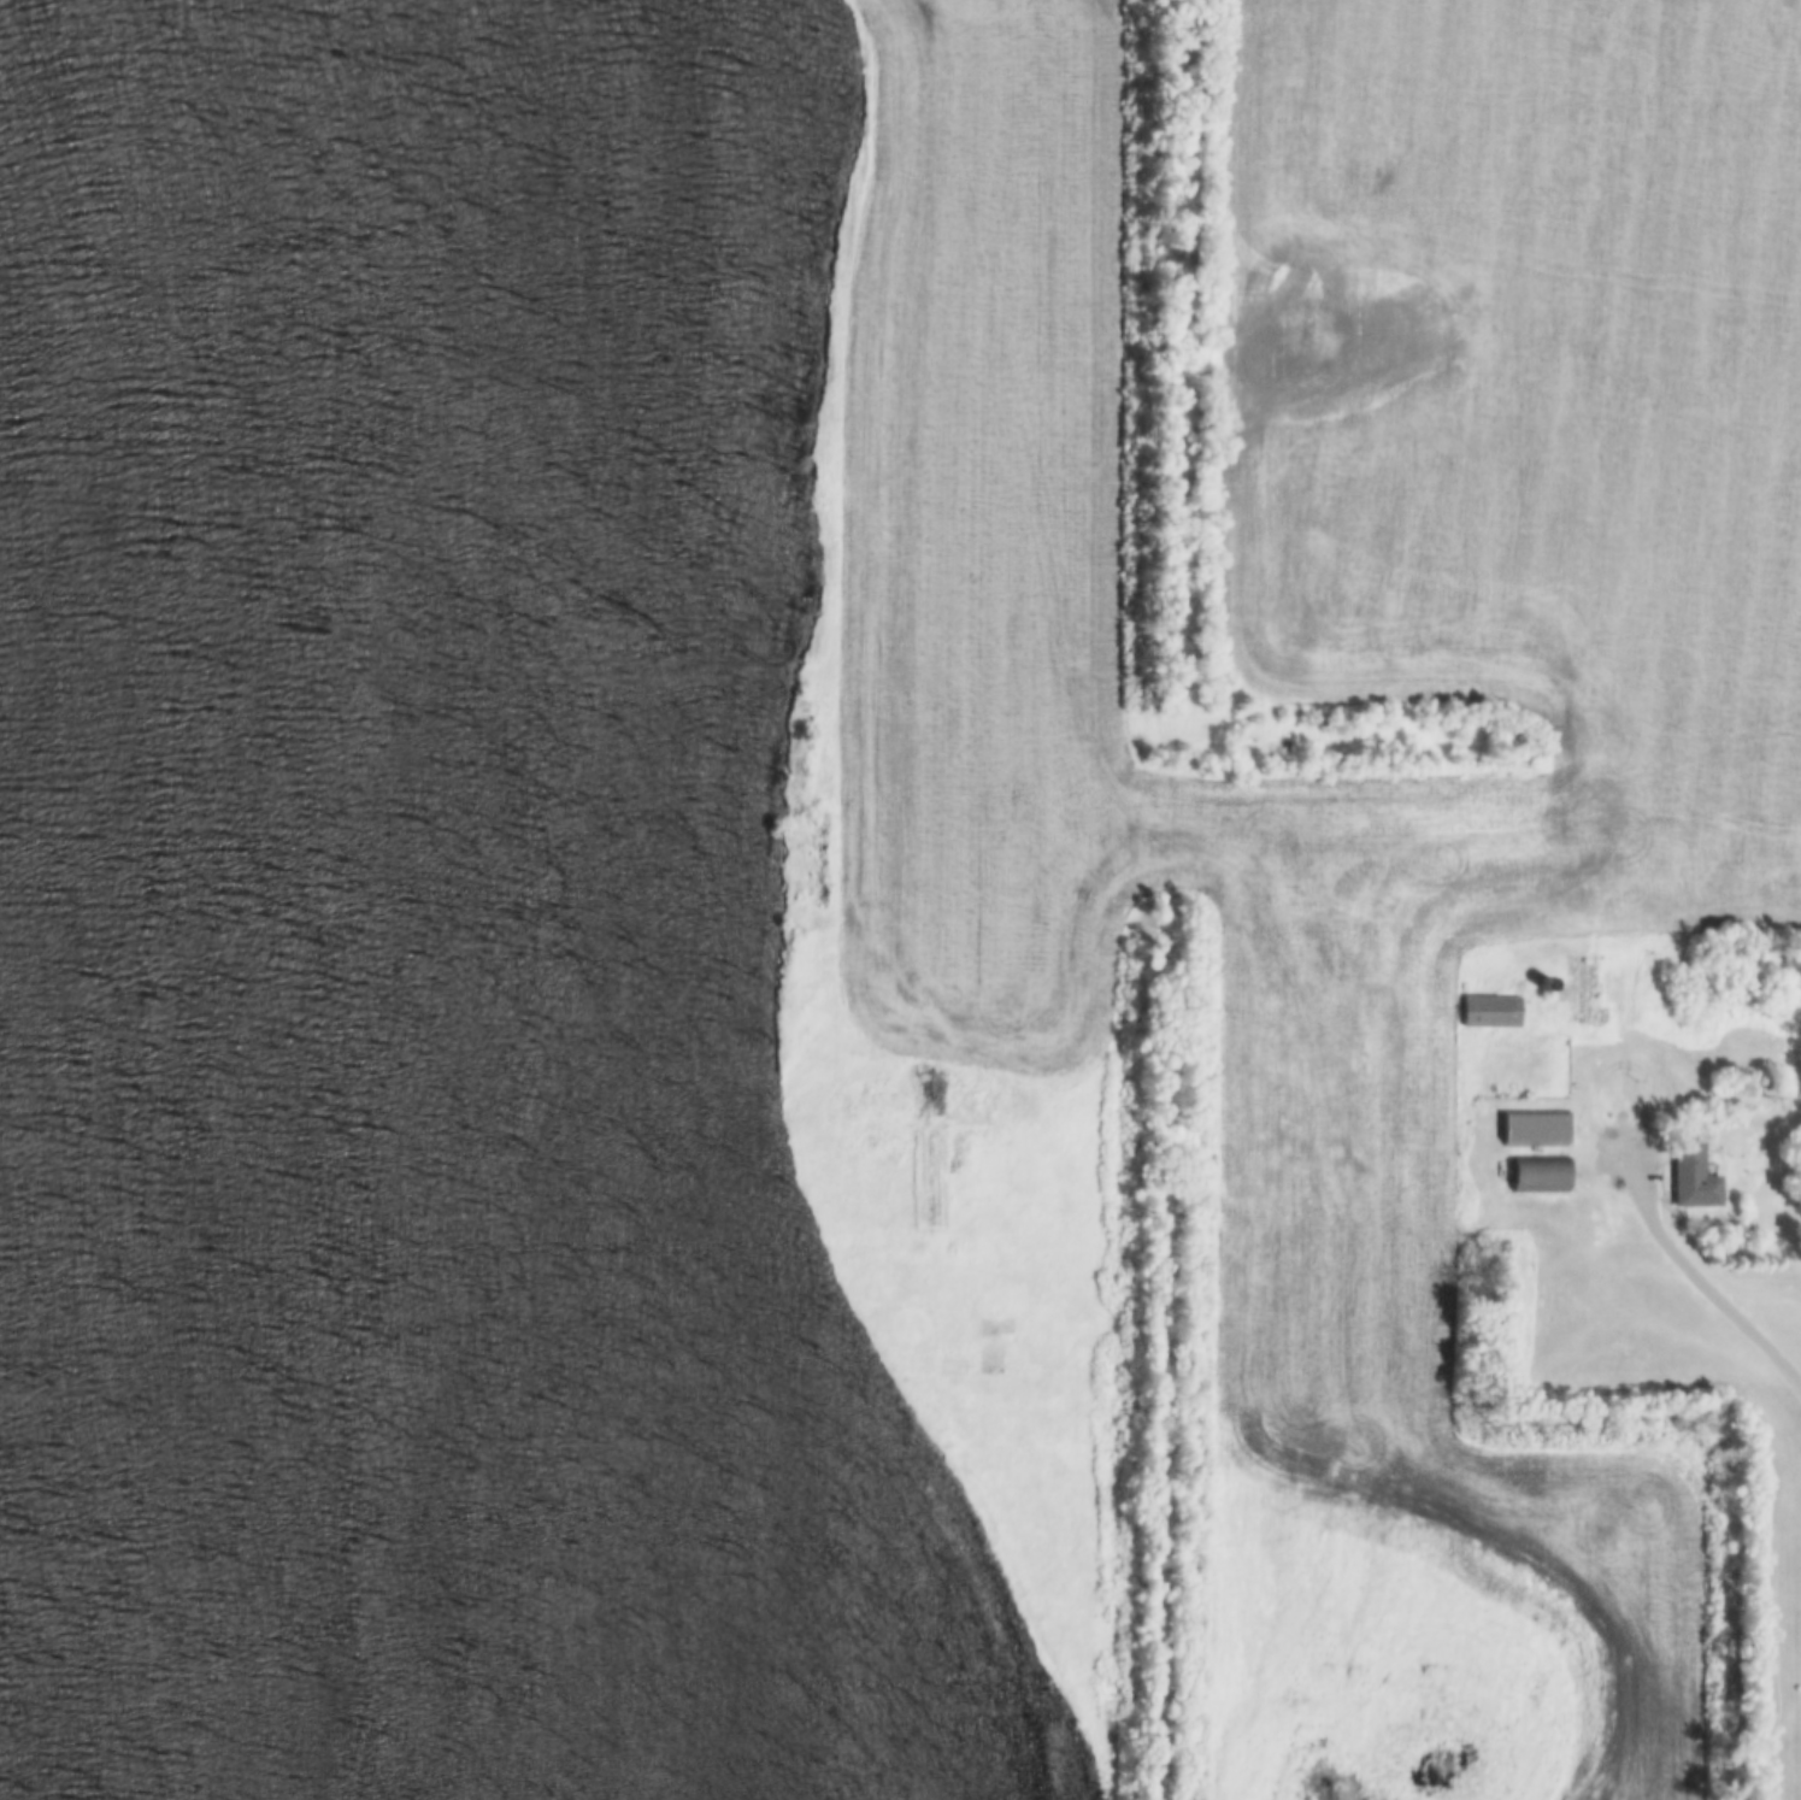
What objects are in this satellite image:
building: (1543, 986)
silo: (1543, 986)
building: (1489, 1013)
building: (1534, 1129)
road: (1467, 1166)
building: (1538, 1175)
building: (1691, 1180)
road: (1681, 1257)

